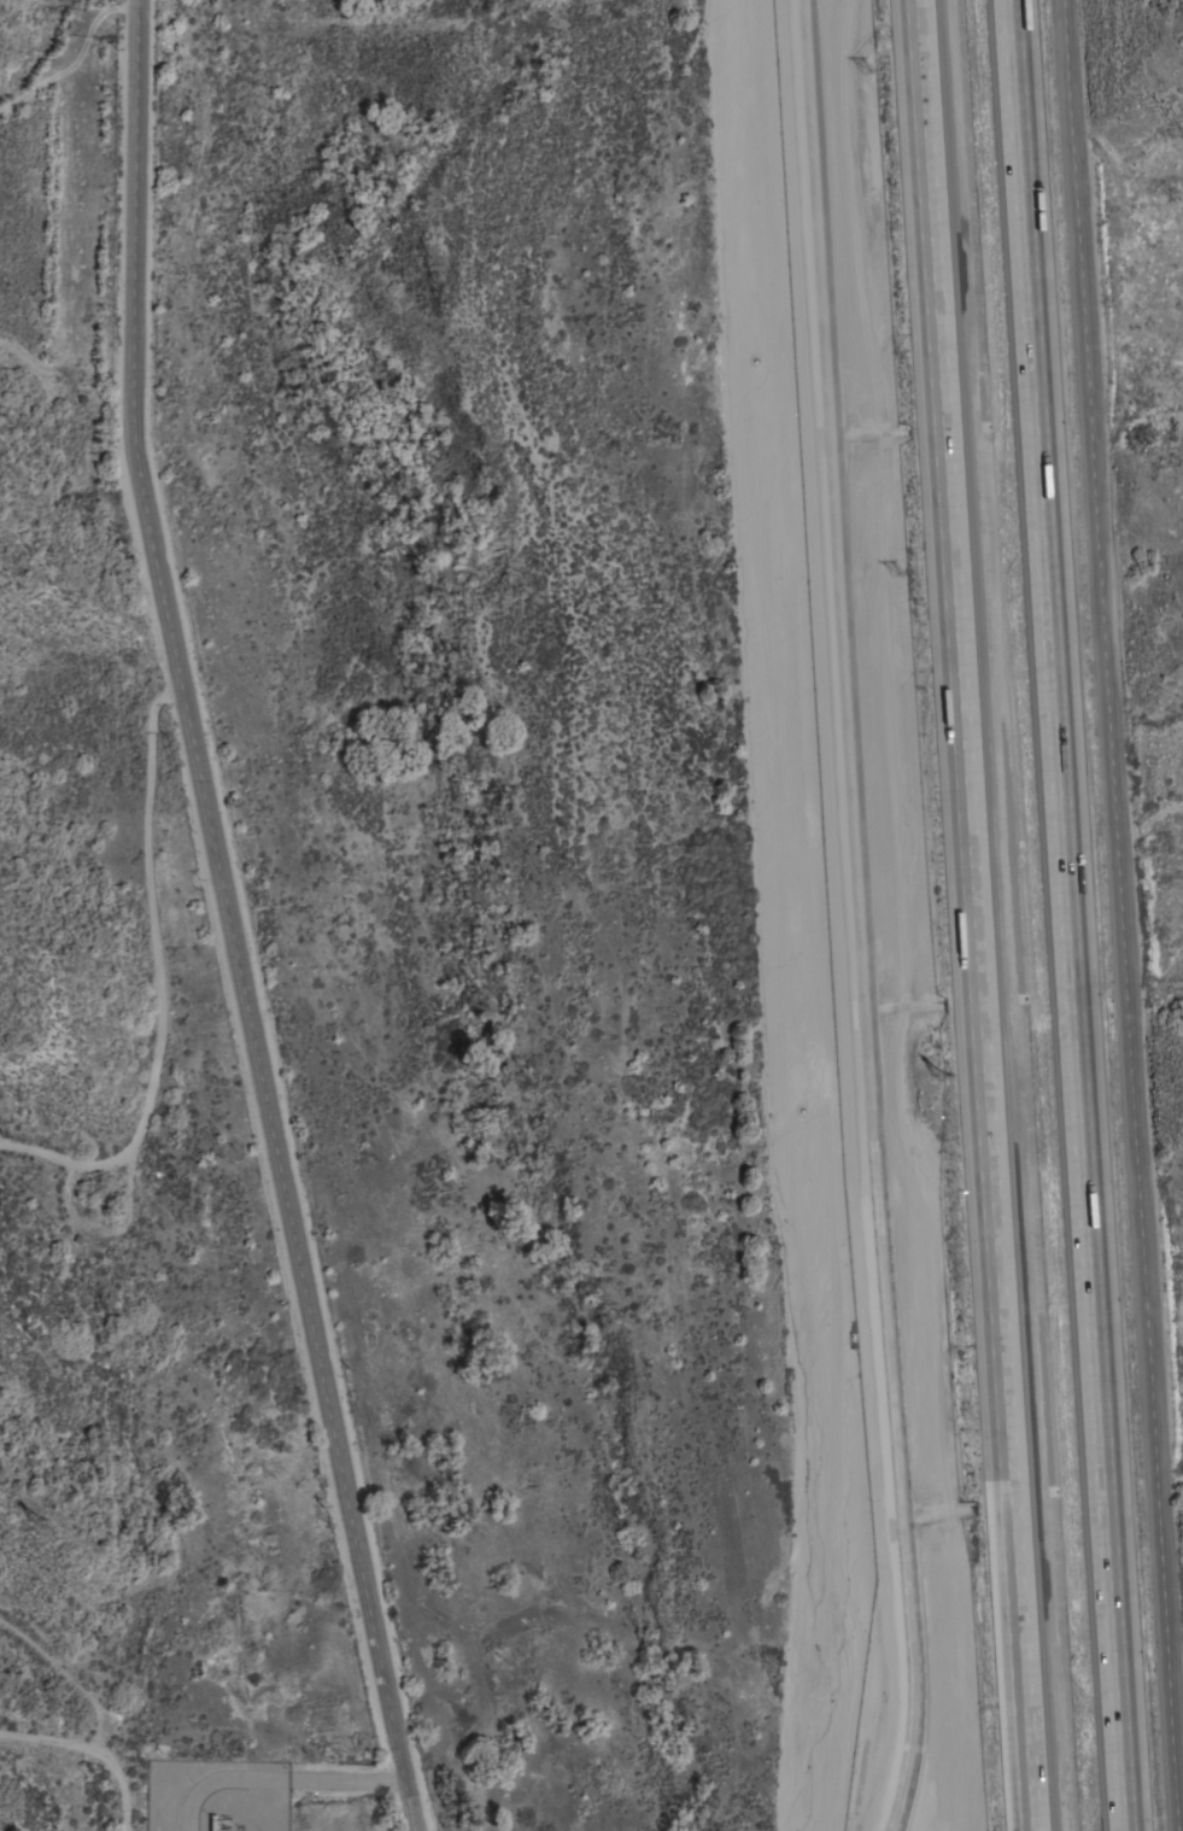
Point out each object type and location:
power tower: (868, 77)
power tower: (898, 581)
road: (972, 915)
road: (1068, 915)
road: (1124, 915)
road: (232, 919)
power tower: (938, 1066)
road: (70, 1160)
road: (128, 1253)
power tower: (31, 1520)
road: (75, 1747)
road: (322, 1782)

